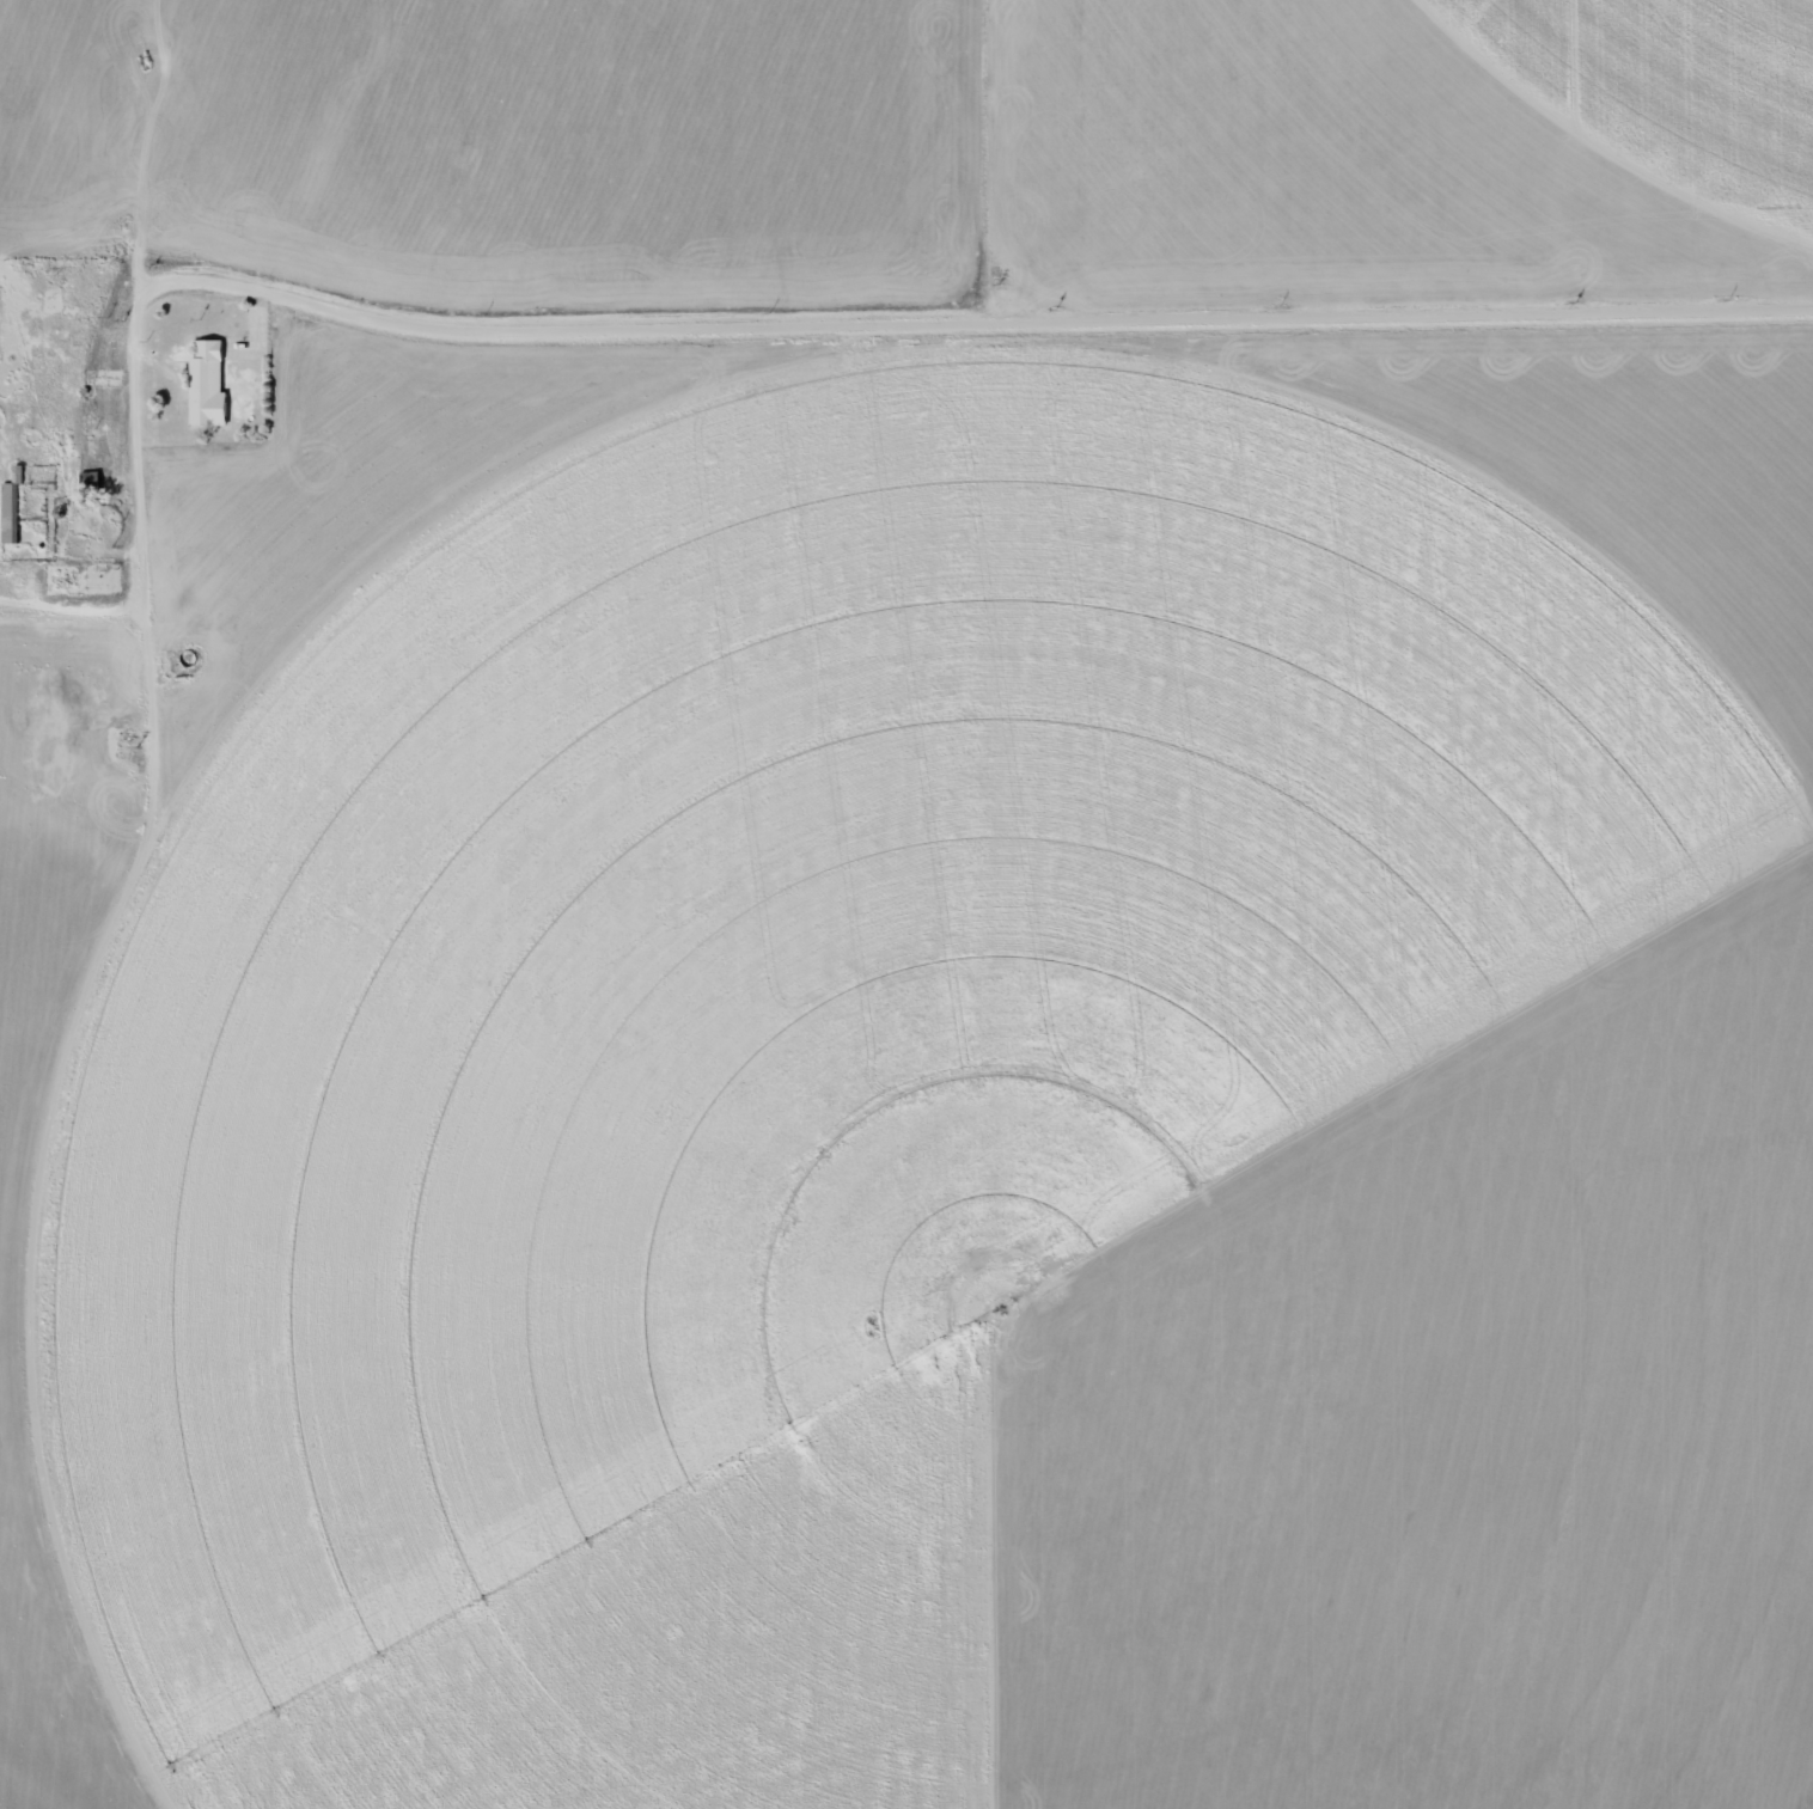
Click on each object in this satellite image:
road: (816, 326)

